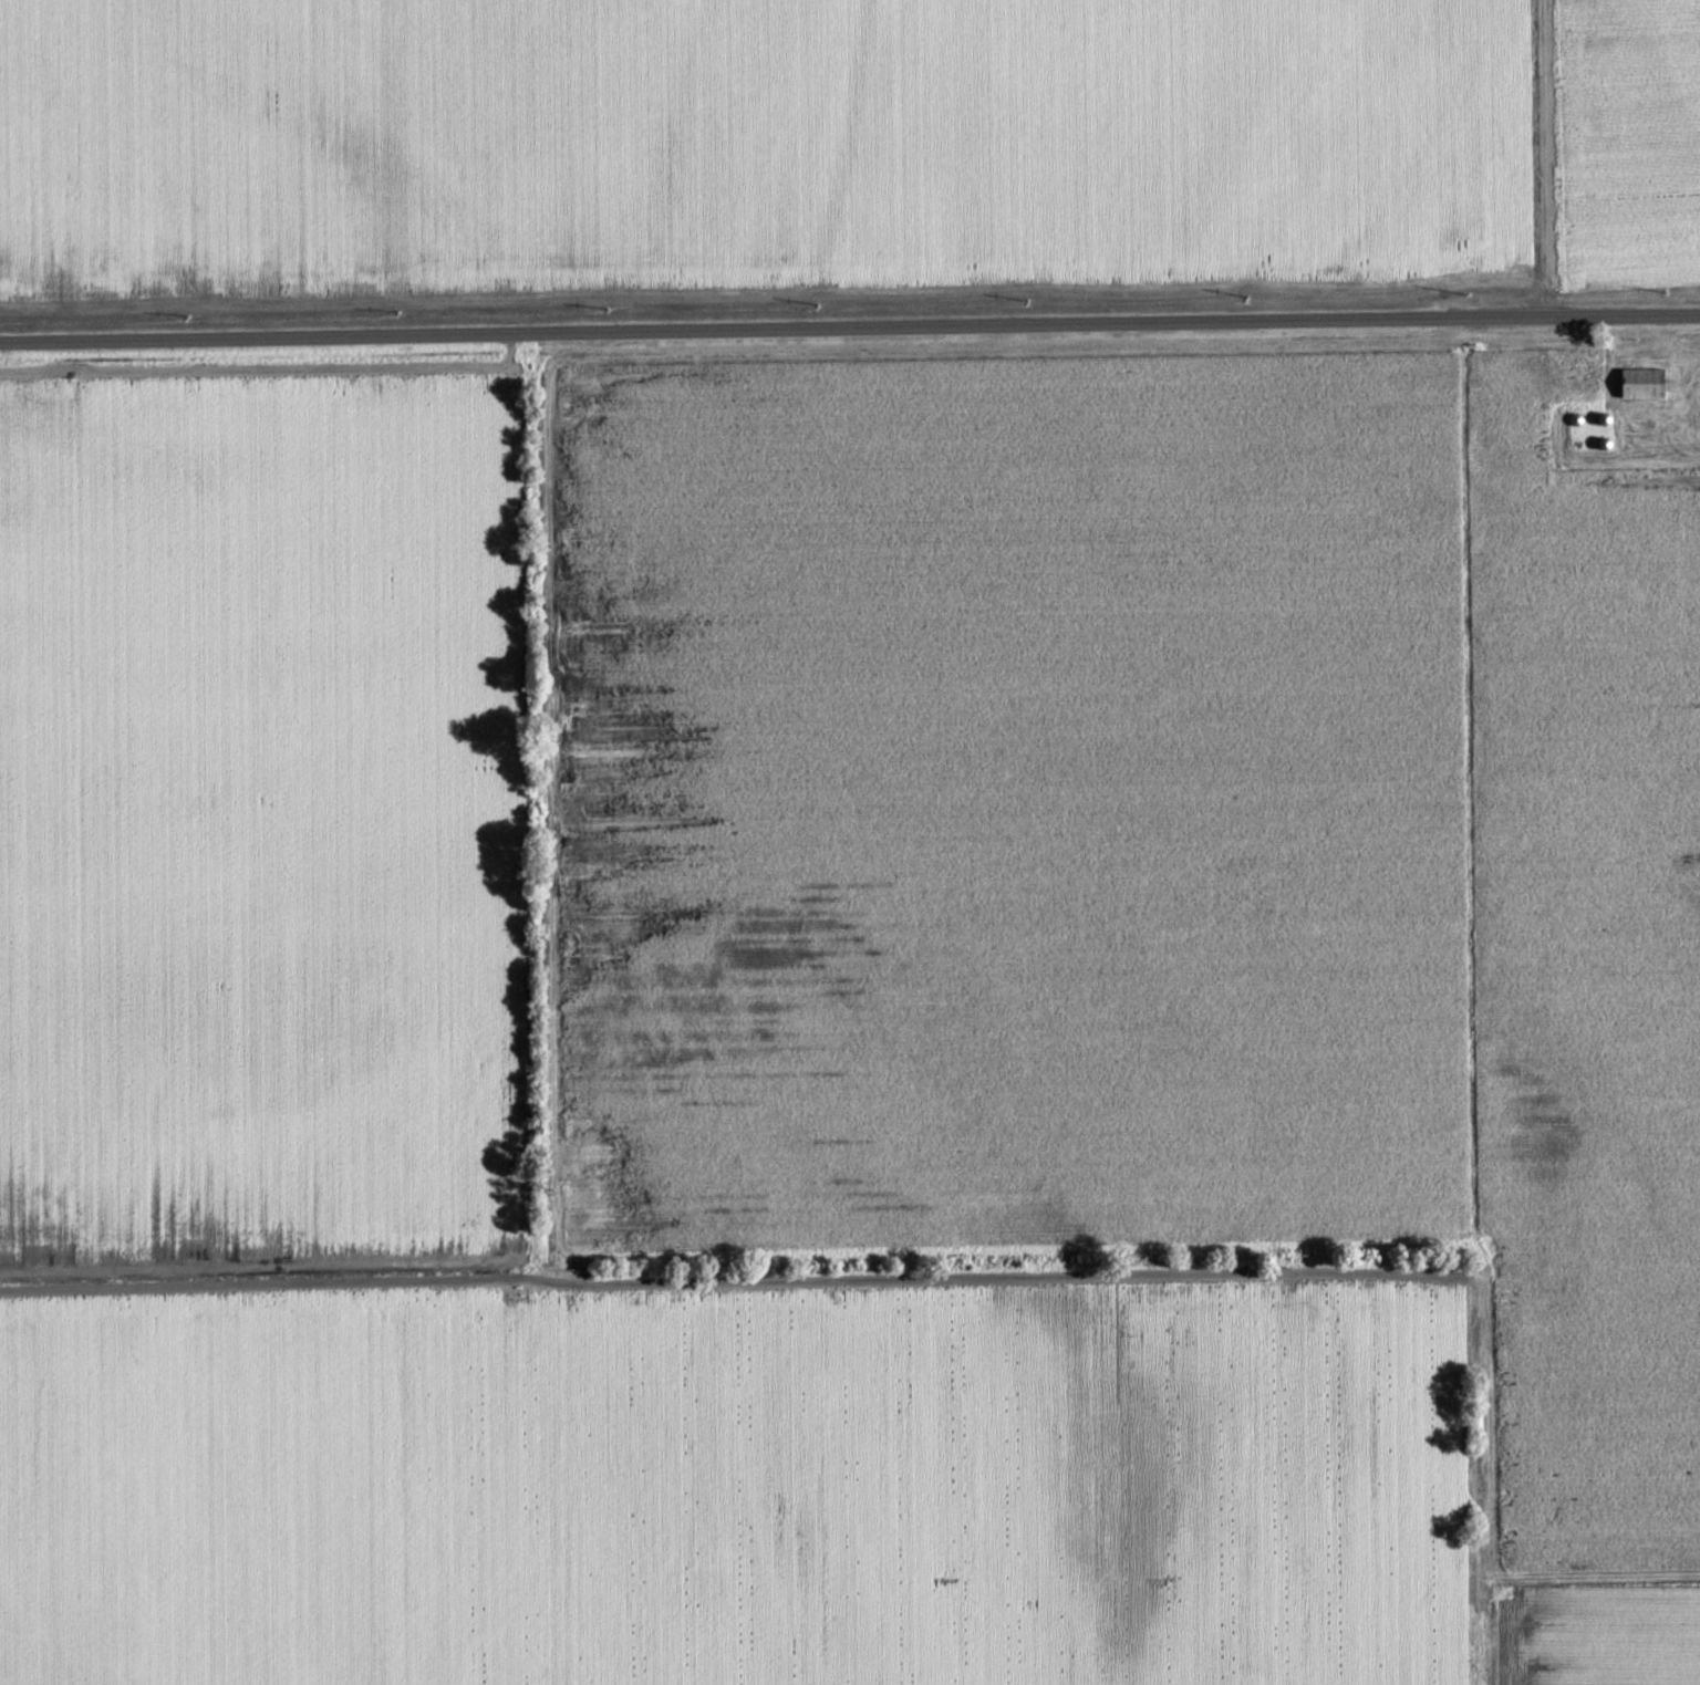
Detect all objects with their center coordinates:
road: (849, 324)
building: (1647, 385)

